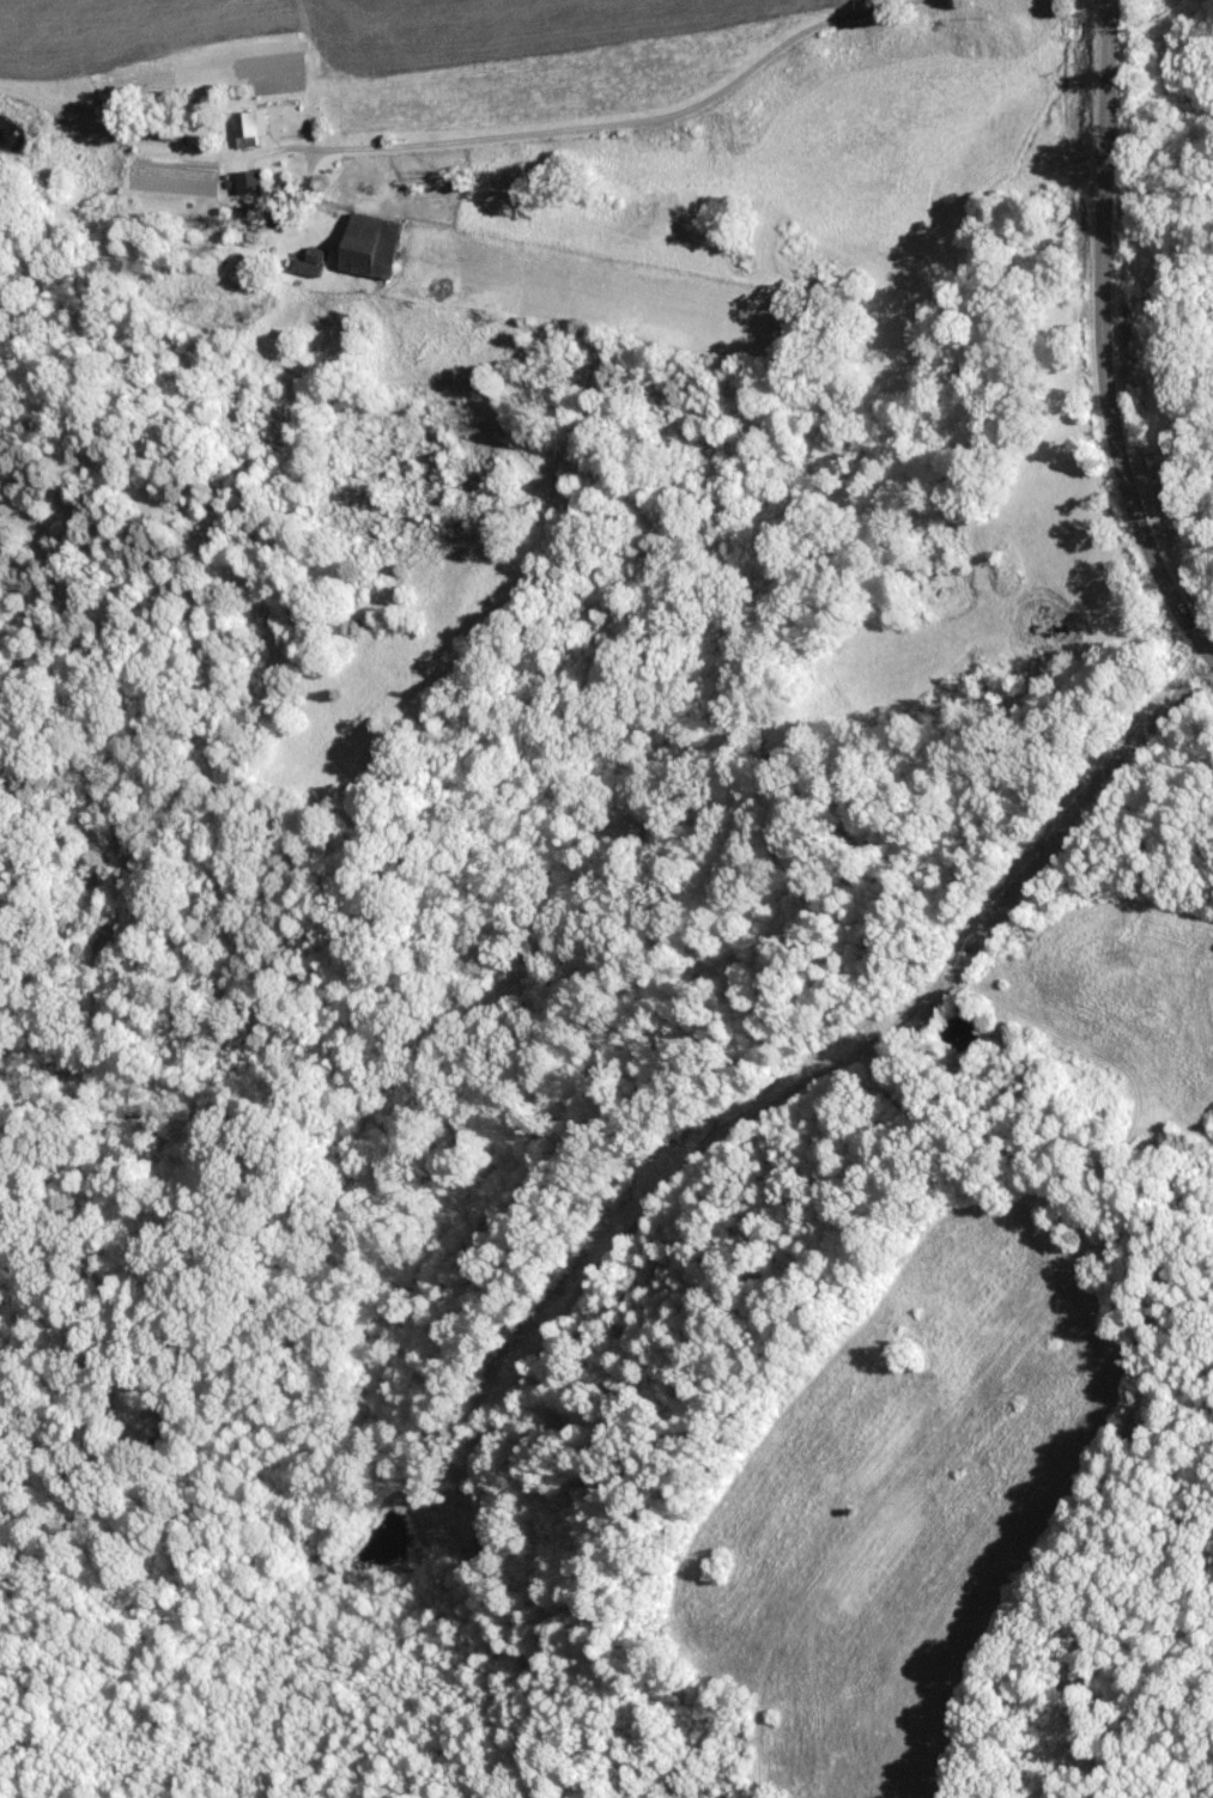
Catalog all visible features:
road: (304, 75)
road: (620, 117)
building: (250, 126)
building: (286, 213)
building: (255, 239)
building: (374, 244)
building: (311, 261)
road: (1104, 338)

